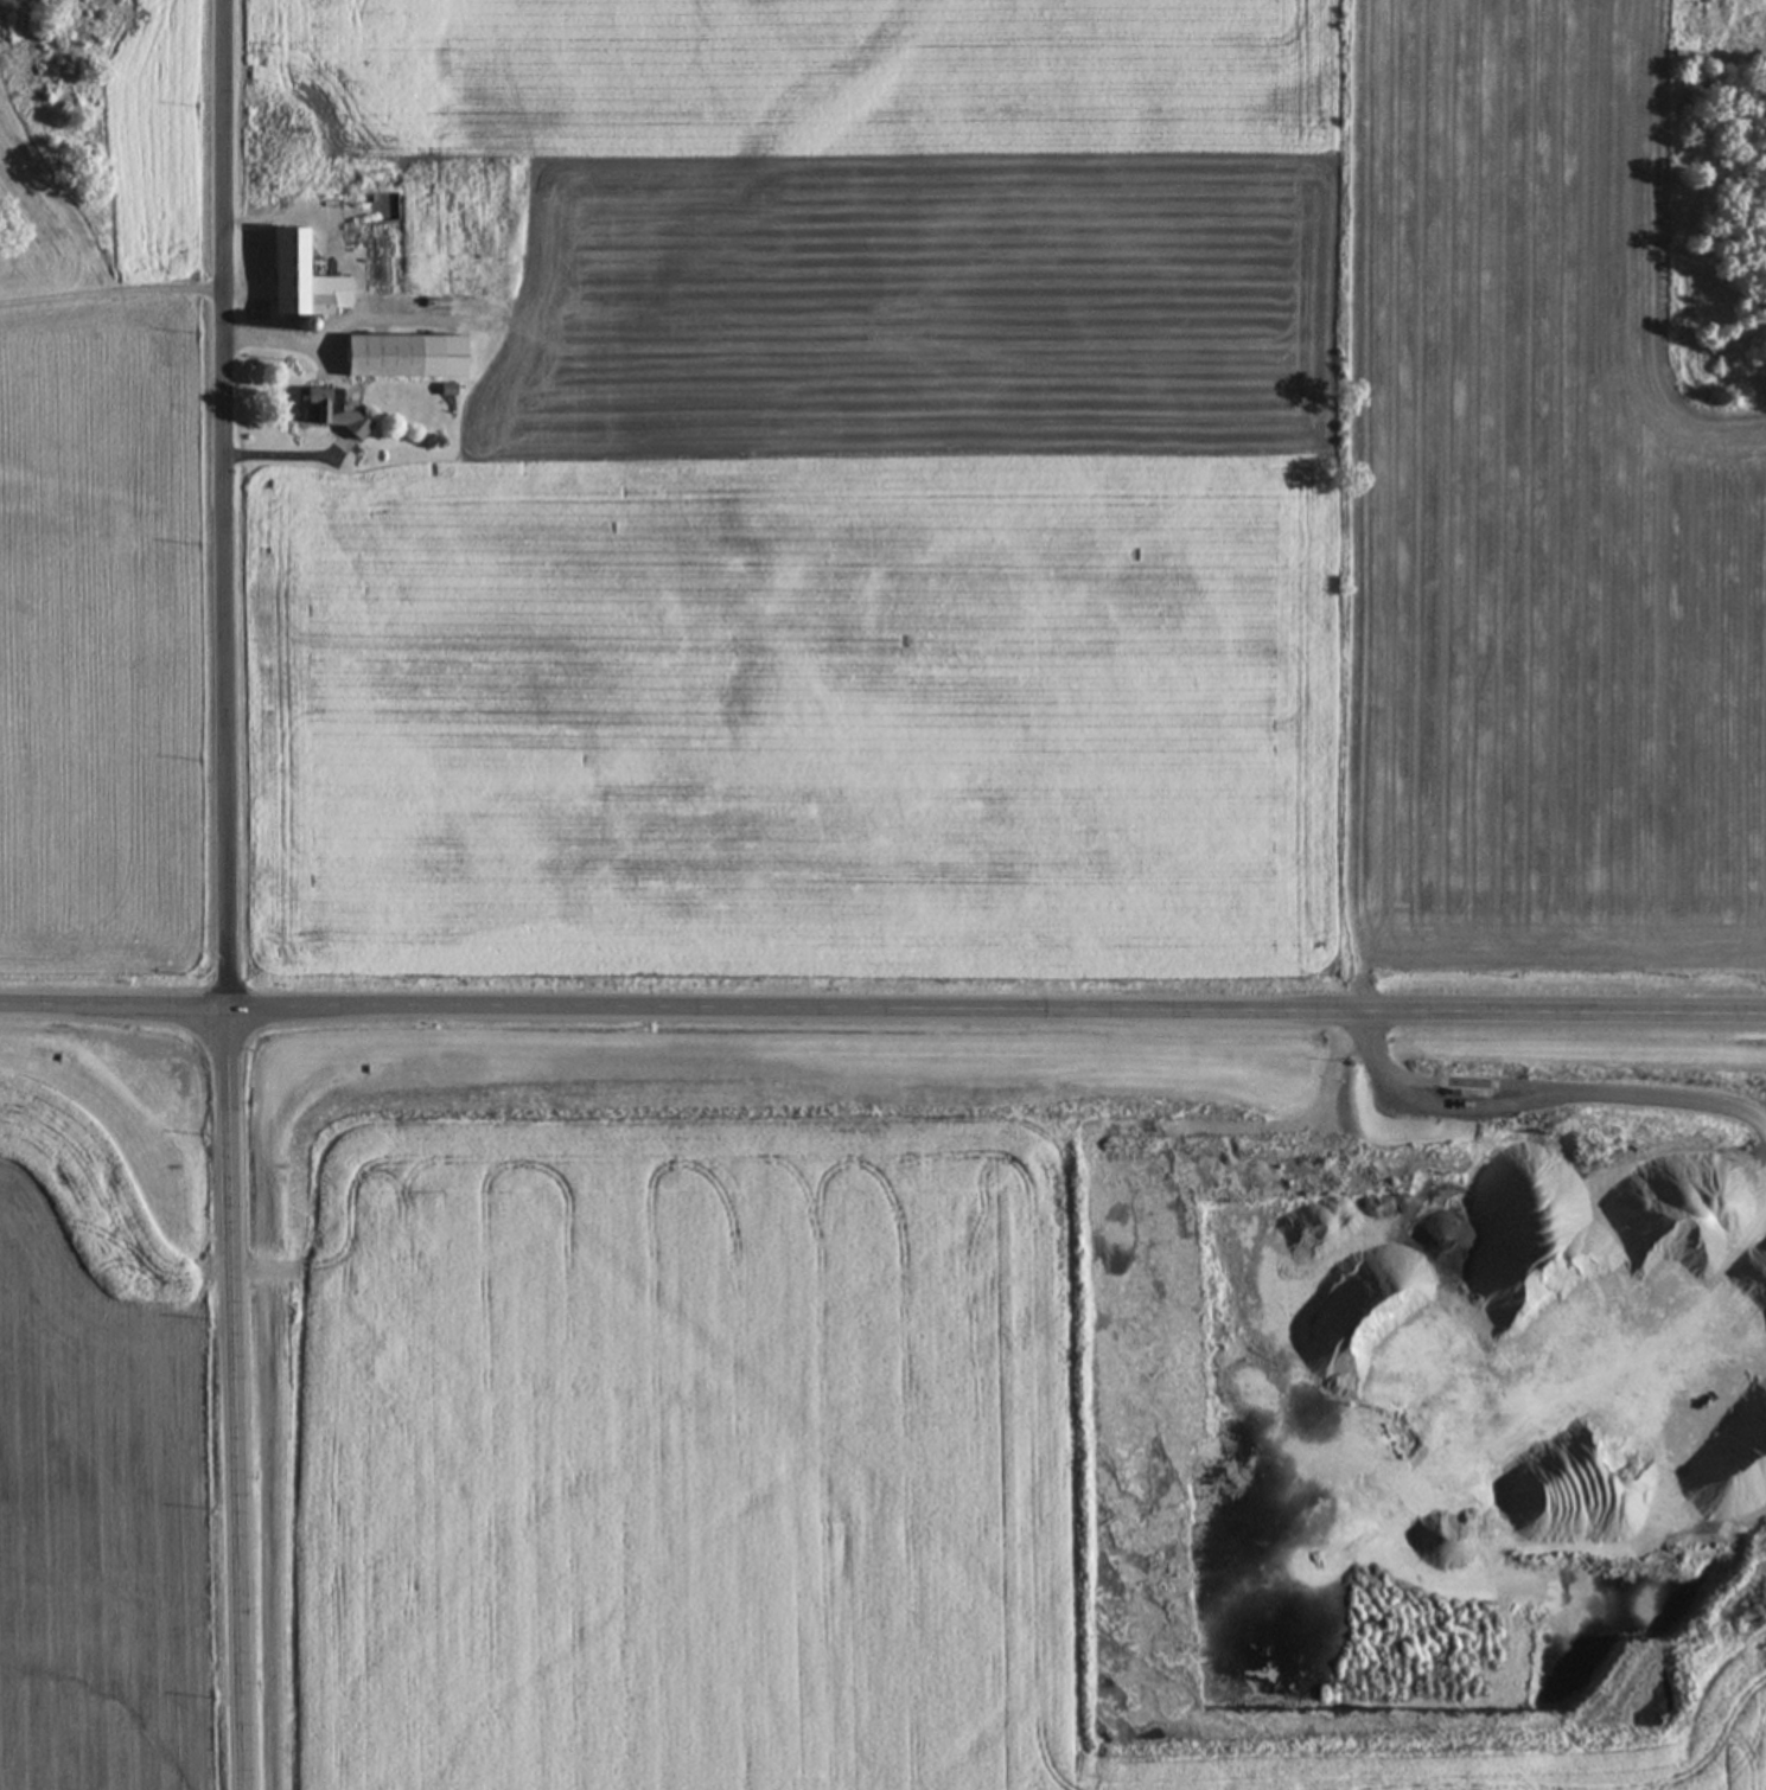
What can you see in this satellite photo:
building: (301, 281)
building: (404, 357)
building: (326, 411)
road: (228, 509)
road: (882, 1021)
quarry: (1503, 1372)
road: (236, 1404)

